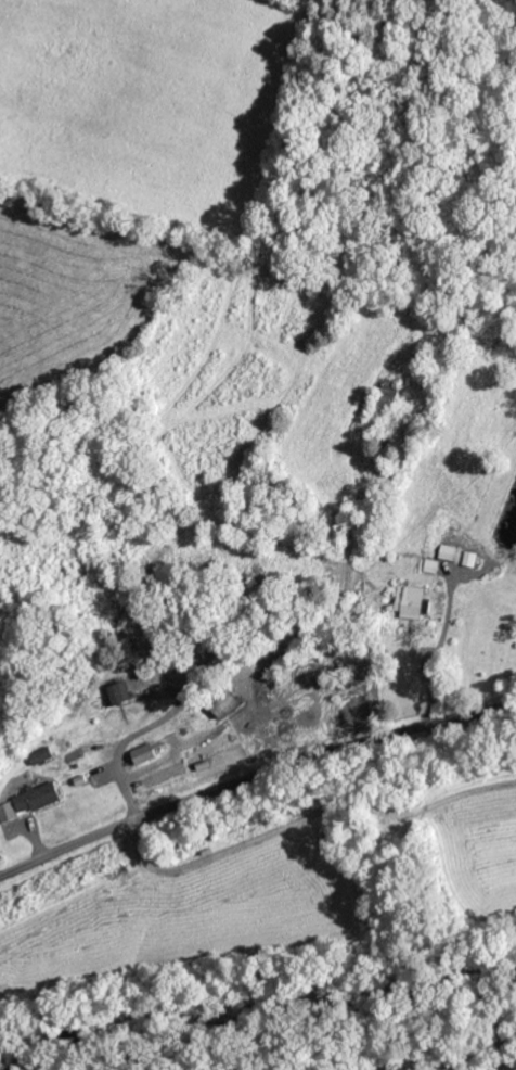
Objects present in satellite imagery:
building: (455, 555)
building: (409, 601)
building: (113, 691)
building: (138, 753)
building: (37, 754)
road: (253, 777)
building: (28, 800)
road: (18, 803)

